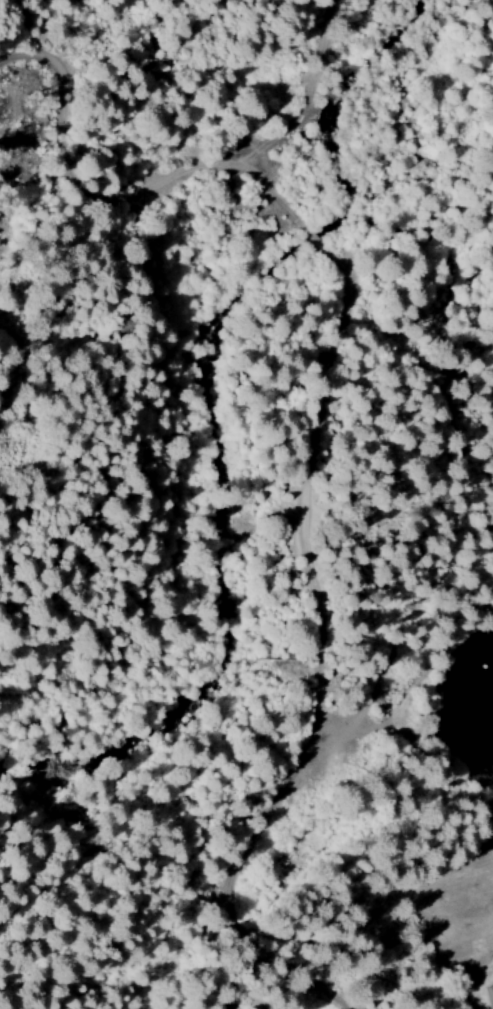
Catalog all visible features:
road: (442, 422)
building: (490, 997)

